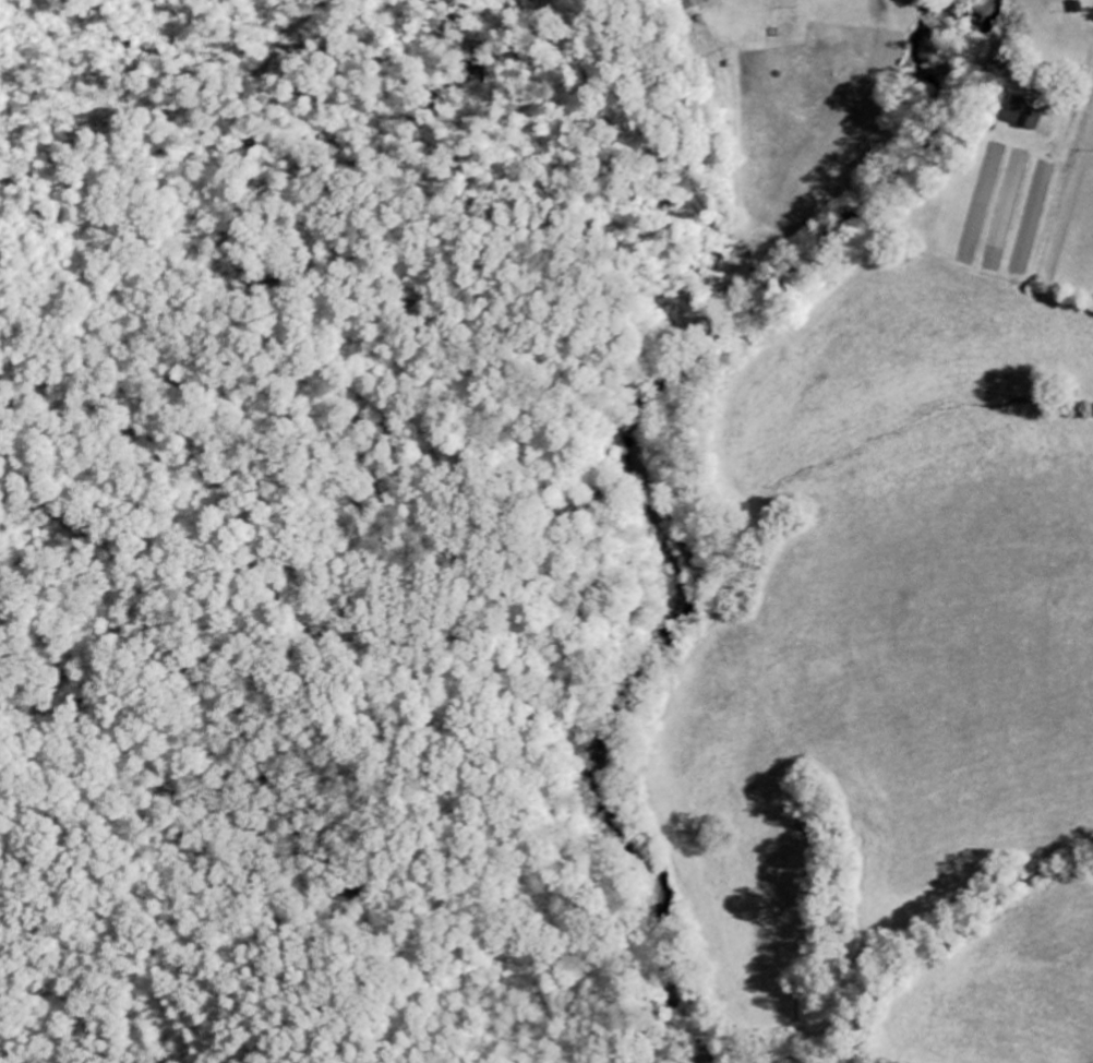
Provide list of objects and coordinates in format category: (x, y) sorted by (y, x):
building: (1023, 115)

